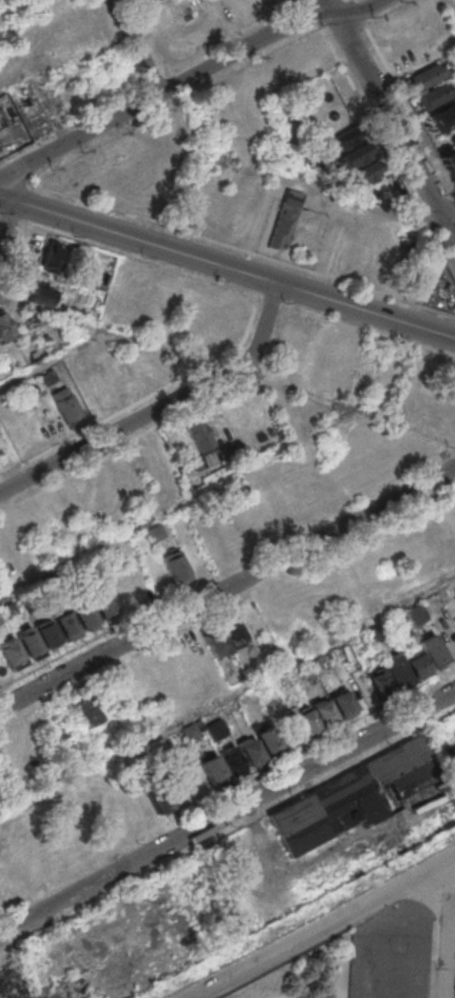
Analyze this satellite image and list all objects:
building: (140, 1)
road: (328, 1)
road: (305, 3)
road: (358, 10)
road: (449, 11)
road: (334, 12)
road: (311, 13)
road: (229, 23)
road: (134, 47)
building: (423, 75)
road: (32, 83)
road: (164, 91)
building: (433, 95)
road: (173, 105)
building: (443, 117)
building: (0, 124)
building: (0, 126)
road: (397, 130)
building: (346, 137)
road: (385, 149)
building: (354, 156)
building: (319, 160)
building: (448, 165)
building: (364, 174)
road: (279, 177)
road: (12, 178)
road: (449, 216)
road: (8, 218)
road: (6, 220)
building: (279, 229)
road: (240, 249)
building: (54, 253)
road: (12, 257)
road: (139, 259)
road: (227, 267)
building: (421, 269)
road: (1, 293)
building: (41, 294)
road: (271, 300)
road: (253, 310)
building: (5, 327)
road: (368, 331)
road: (275, 339)
road: (50, 357)
road: (235, 367)
building: (49, 376)
road: (262, 377)
building: (66, 405)
road: (160, 405)
road: (99, 421)
building: (197, 433)
road: (128, 439)
building: (267, 472)
road: (176, 504)
building: (284, 508)
building: (156, 531)
building: (174, 565)
road: (227, 586)
building: (102, 603)
building: (9, 608)
building: (85, 615)
building: (1, 619)
building: (454, 622)
building: (66, 624)
building: (233, 629)
building: (47, 632)
building: (373, 633)
building: (215, 639)
building: (29, 642)
building: (431, 649)
building: (12, 653)
building: (415, 663)
building: (396, 669)
building: (378, 680)
road: (227, 694)
building: (343, 702)
building: (89, 709)
building: (324, 712)
building: (305, 721)
building: (216, 728)
building: (190, 731)
building: (268, 739)
building: (250, 750)
building: (231, 759)
building: (213, 769)
building: (157, 796)
building: (362, 798)
road: (227, 813)
road: (322, 926)
road: (448, 927)
wastewater plant: (305, 974)

